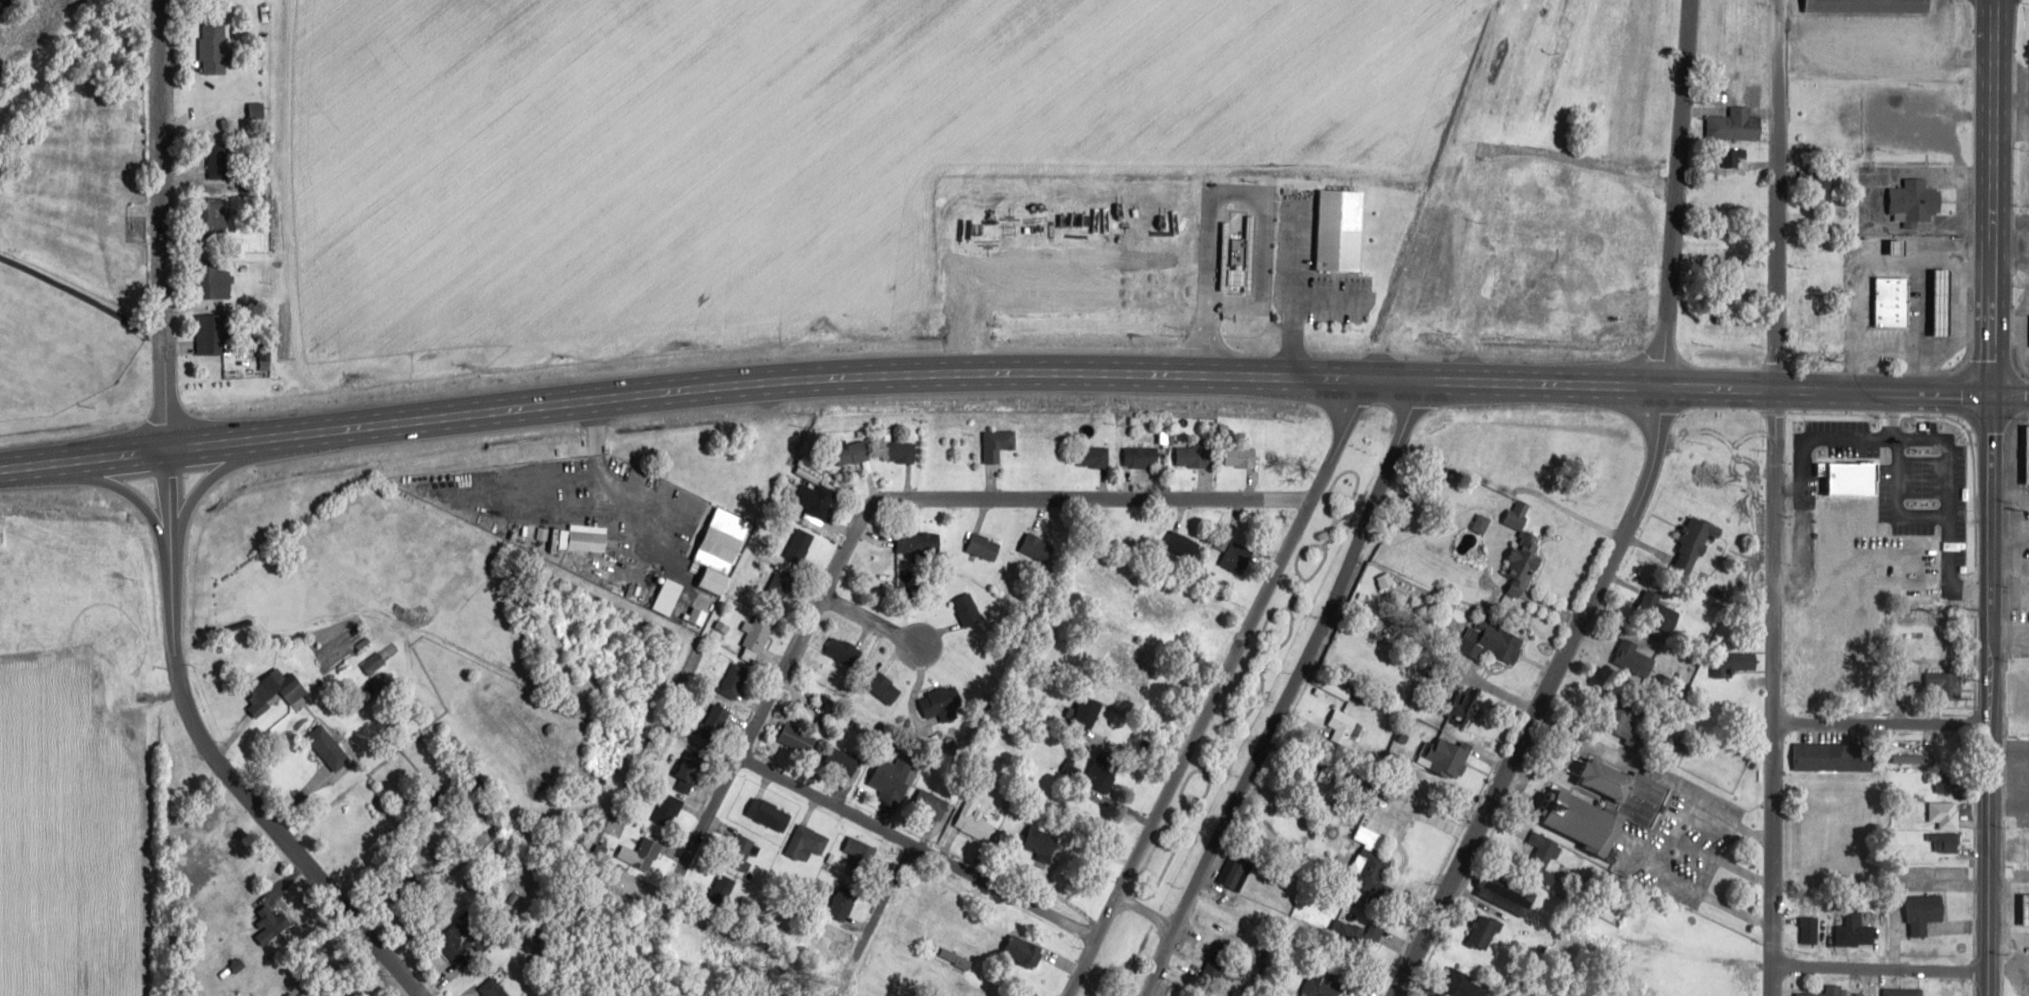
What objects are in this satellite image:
building: (1868, 6)
building: (214, 44)
building: (1737, 124)
building: (44, 128)
building: (1819, 184)
building: (1, 189)
road: (1677, 193)
building: (1916, 199)
building: (211, 218)
road: (164, 219)
building: (1341, 230)
building: (209, 283)
building: (1892, 300)
building: (1822, 315)
building: (211, 334)
road: (1012, 376)
building: (993, 442)
building: (852, 451)
building: (2028, 454)
building: (895, 455)
building: (1838, 457)
building: (1088, 458)
building: (1194, 458)
building: (1136, 460)
building: (1236, 460)
building: (1939, 467)
road: (1778, 497)
road: (1991, 497)
building: (815, 499)
road: (858, 514)
building: (1518, 514)
building: (919, 544)
building: (1182, 545)
building: (1693, 545)
building: (799, 546)
building: (984, 546)
building: (1038, 548)
building: (1435, 548)
building: (1233, 554)
building: (1525, 561)
building: (1153, 607)
building: (967, 609)
building: (1659, 611)
road: (875, 622)
building: (758, 632)
building: (1499, 641)
building: (844, 650)
building: (1631, 656)
building: (1742, 659)
building: (1132, 661)
building: (1944, 679)
building: (734, 680)
building: (268, 687)
building: (884, 687)
road: (1216, 688)
road: (1288, 692)
road: (1541, 696)
building: (128, 697)
building: (940, 700)
building: (1468, 700)
building: (1090, 711)
building: (130, 713)
building: (714, 721)
road: (1882, 722)
building: (1627, 723)
building: (1343, 726)
building: (805, 742)
building: (328, 747)
building: (1950, 749)
road: (208, 752)
building: (1835, 756)
building: (1454, 758)
building: (1913, 759)
building: (842, 760)
building: (689, 770)
building: (1101, 775)
building: (886, 781)
building: (1941, 784)
building: (931, 804)
building: (667, 810)
building: (770, 814)
building: (1944, 816)
building: (1580, 819)
building: (976, 826)
building: (1039, 841)
building: (1944, 842)
building: (806, 843)
road: (917, 845)
building: (649, 849)
building: (739, 850)
building: (1543, 858)
building: (858, 859)
road: (1050, 863)
building: (1236, 868)
building: (1374, 878)
building: (723, 892)
building: (1510, 897)
building: (842, 902)
building: (2026, 909)
road: (1146, 911)
building: (1925, 913)
building: (270, 922)
building: (1809, 930)
building: (1484, 931)
building: (1855, 931)
building: (460, 939)
building: (1025, 951)
building: (1218, 959)
road: (1881, 965)
building: (1319, 983)
building: (492, 988)
building: (1468, 988)
building: (1834, 988)
building: (1903, 992)
building: (1859, 995)

